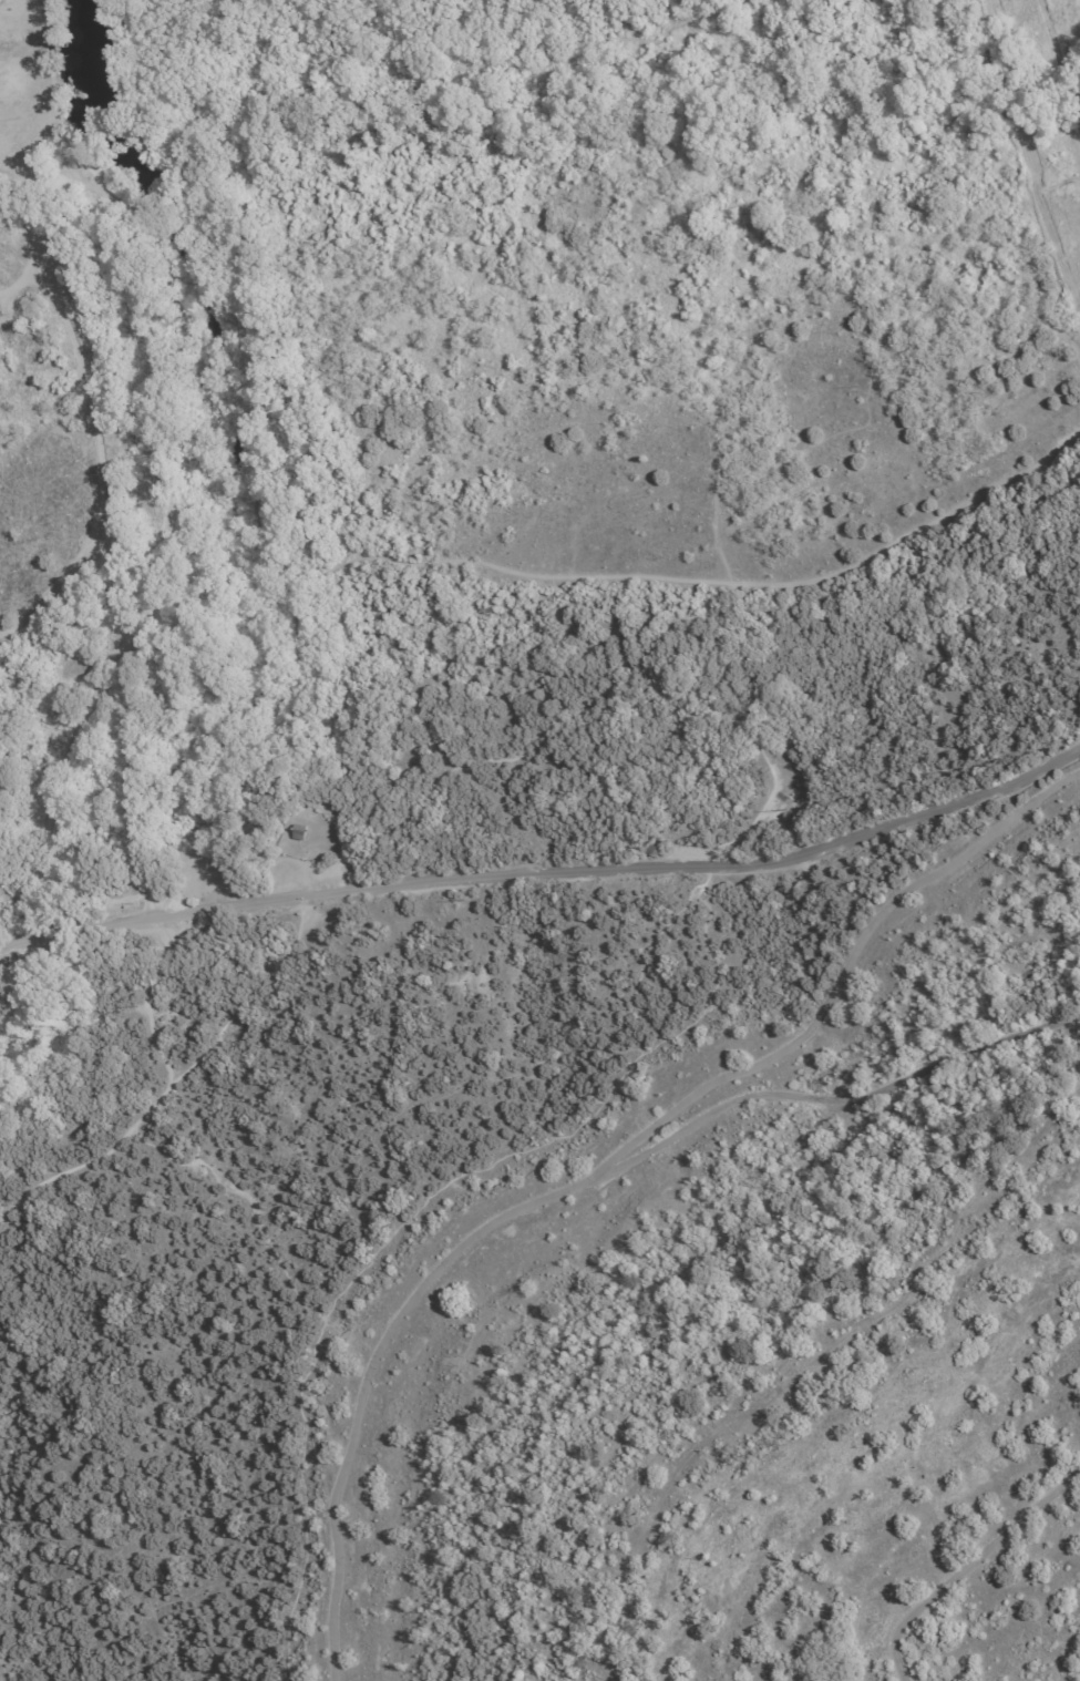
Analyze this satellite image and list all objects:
road: (848, 11)
road: (494, 63)
road: (191, 107)
road: (79, 176)
road: (1021, 178)
road: (202, 238)
road: (22, 283)
building: (1, 311)
road: (672, 331)
road: (196, 366)
road: (232, 378)
road: (871, 382)
road: (91, 406)
road: (697, 580)
road: (145, 597)
road: (296, 663)
park: (455, 667)
building: (300, 833)
road: (301, 868)
road: (601, 871)
road: (97, 932)
road: (42, 946)
road: (155, 1004)
road: (179, 1088)
road: (12, 1421)
road: (4, 1671)

